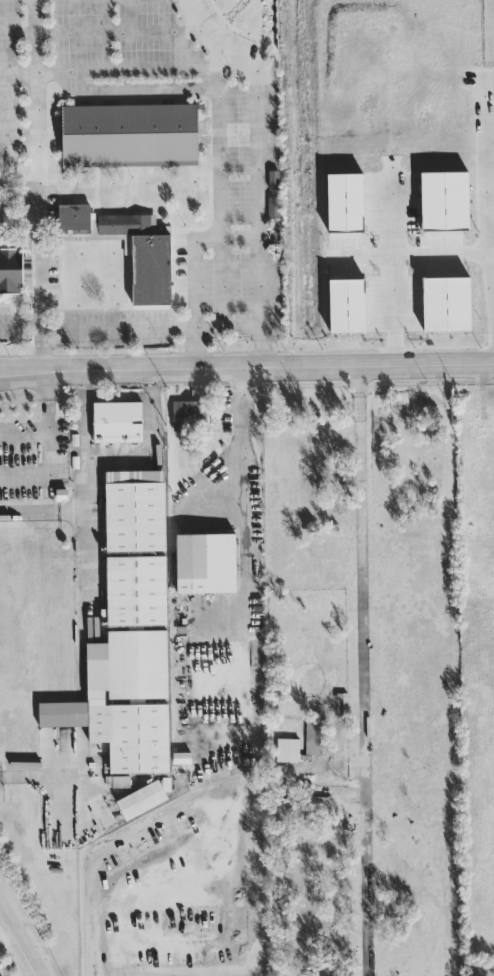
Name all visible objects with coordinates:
road: (118, 31)
road: (35, 34)
road: (224, 62)
road: (219, 106)
road: (18, 109)
road: (37, 113)
building: (128, 133)
road: (258, 146)
road: (19, 149)
building: (273, 178)
building: (445, 198)
building: (342, 201)
building: (272, 204)
building: (72, 215)
road: (491, 238)
road: (196, 251)
road: (412, 254)
building: (142, 255)
road: (393, 264)
building: (9, 271)
building: (445, 302)
building: (347, 305)
road: (21, 320)
road: (106, 326)
road: (195, 346)
road: (43, 347)
road: (247, 367)
road: (44, 402)
building: (188, 412)
building: (117, 420)
road: (148, 439)
road: (46, 455)
road: (41, 508)
building: (134, 509)
road: (243, 524)
road: (83, 530)
building: (135, 552)
building: (205, 562)
building: (135, 589)
road: (362, 671)
building: (95, 699)
building: (126, 700)
building: (313, 736)
building: (287, 744)
building: (181, 756)
road: (39, 775)
building: (120, 781)
building: (142, 798)
road: (5, 933)
road: (18, 944)

